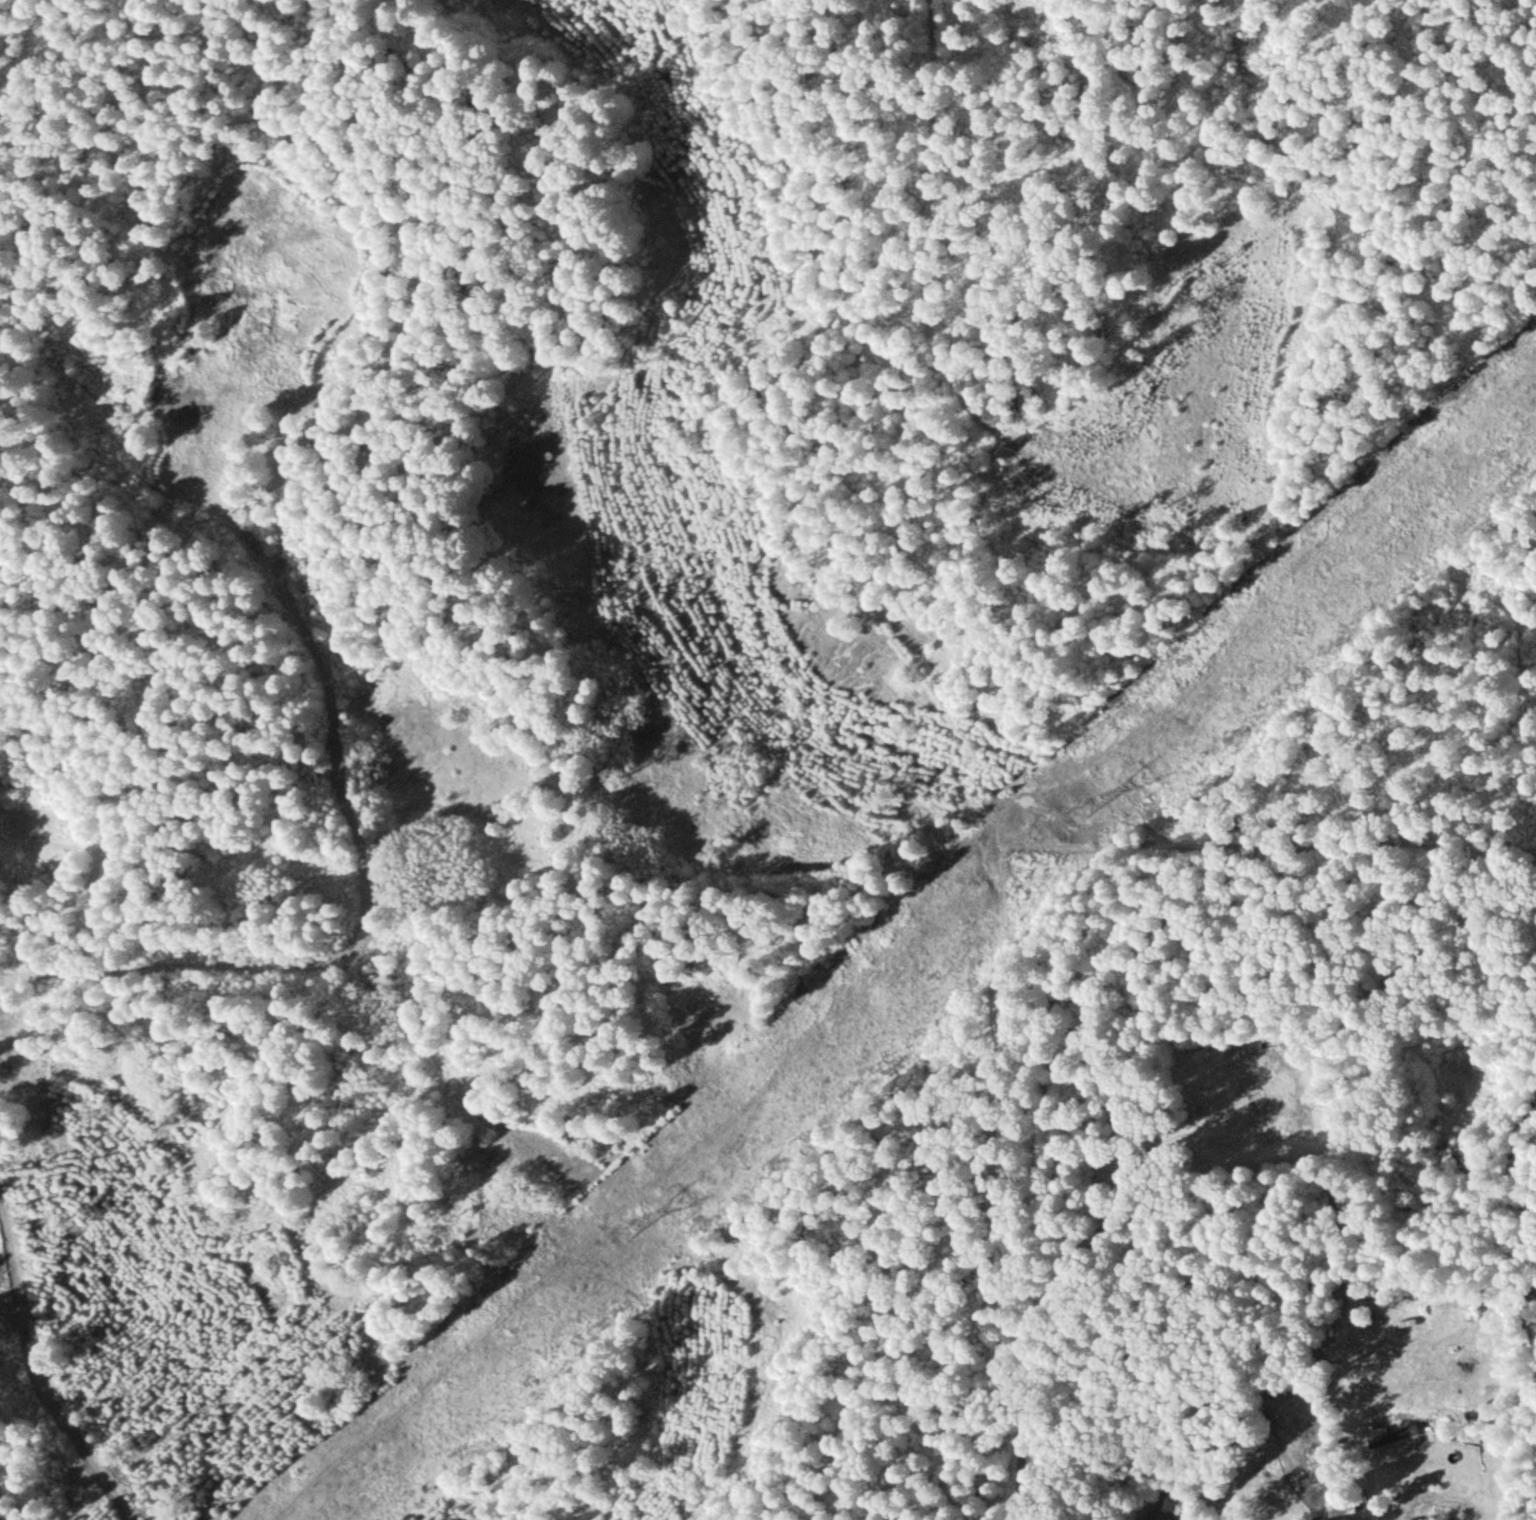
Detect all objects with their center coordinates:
power tower: (1081, 809)
road: (1002, 922)
power tower: (621, 1230)
building: (1386, 1439)

